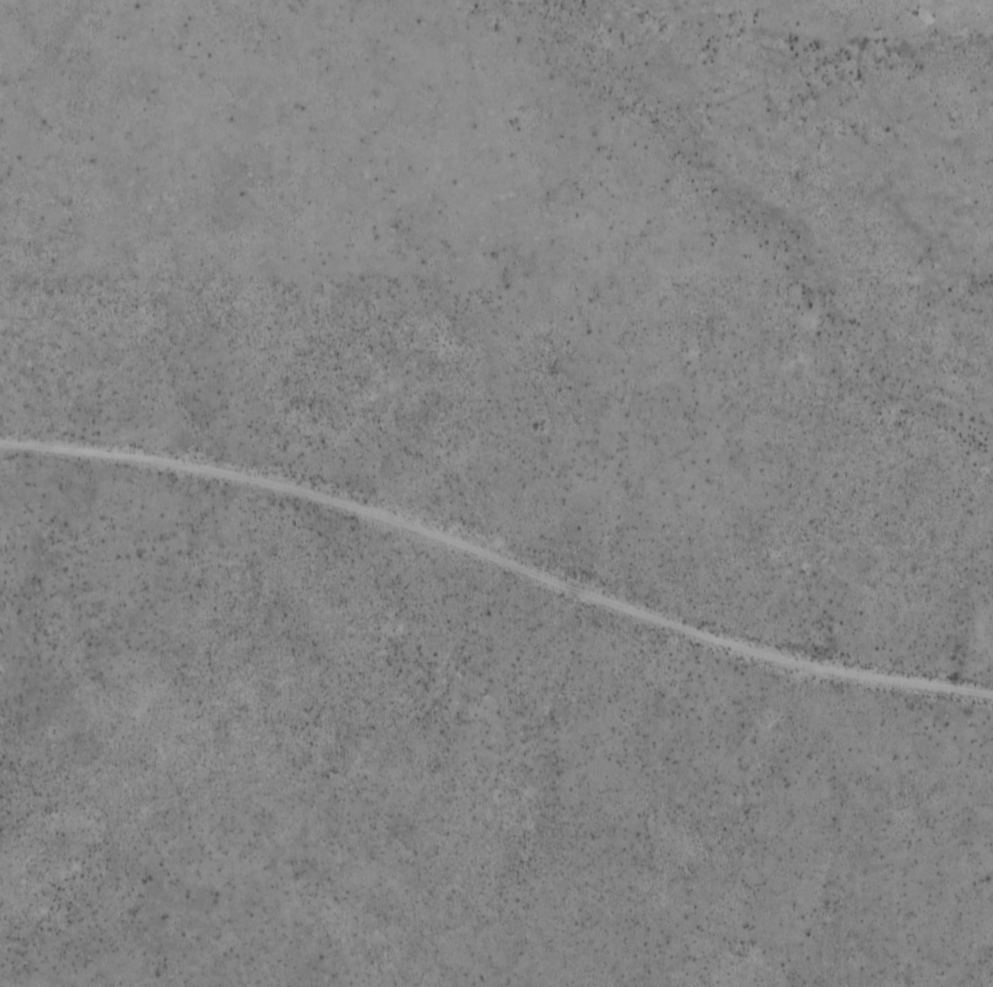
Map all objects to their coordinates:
road: (499, 560)

